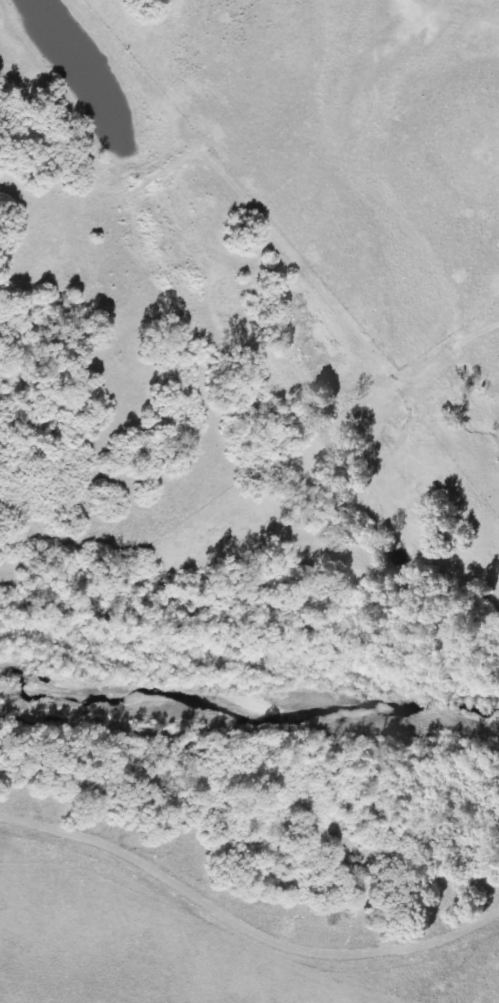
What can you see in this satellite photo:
river: (250, 694)
road: (242, 925)

